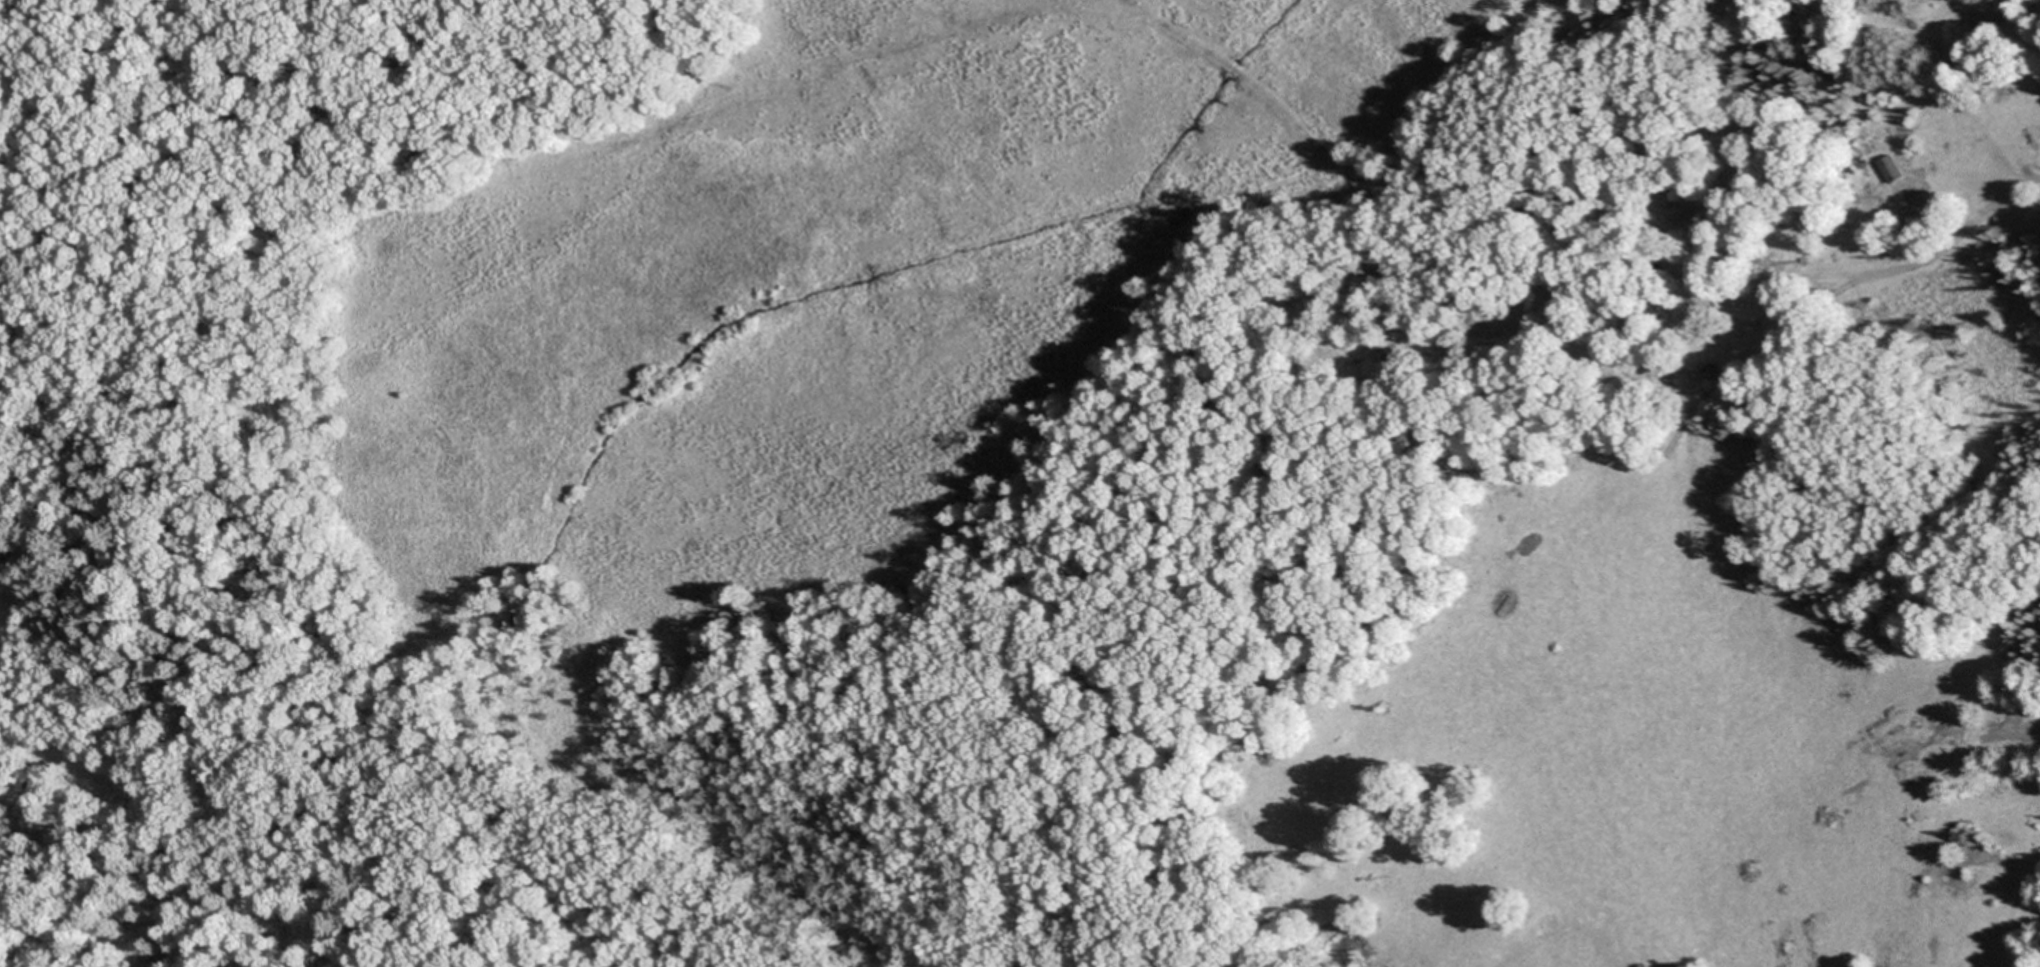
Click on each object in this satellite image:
building: (1893, 168)
road: (2039, 178)

